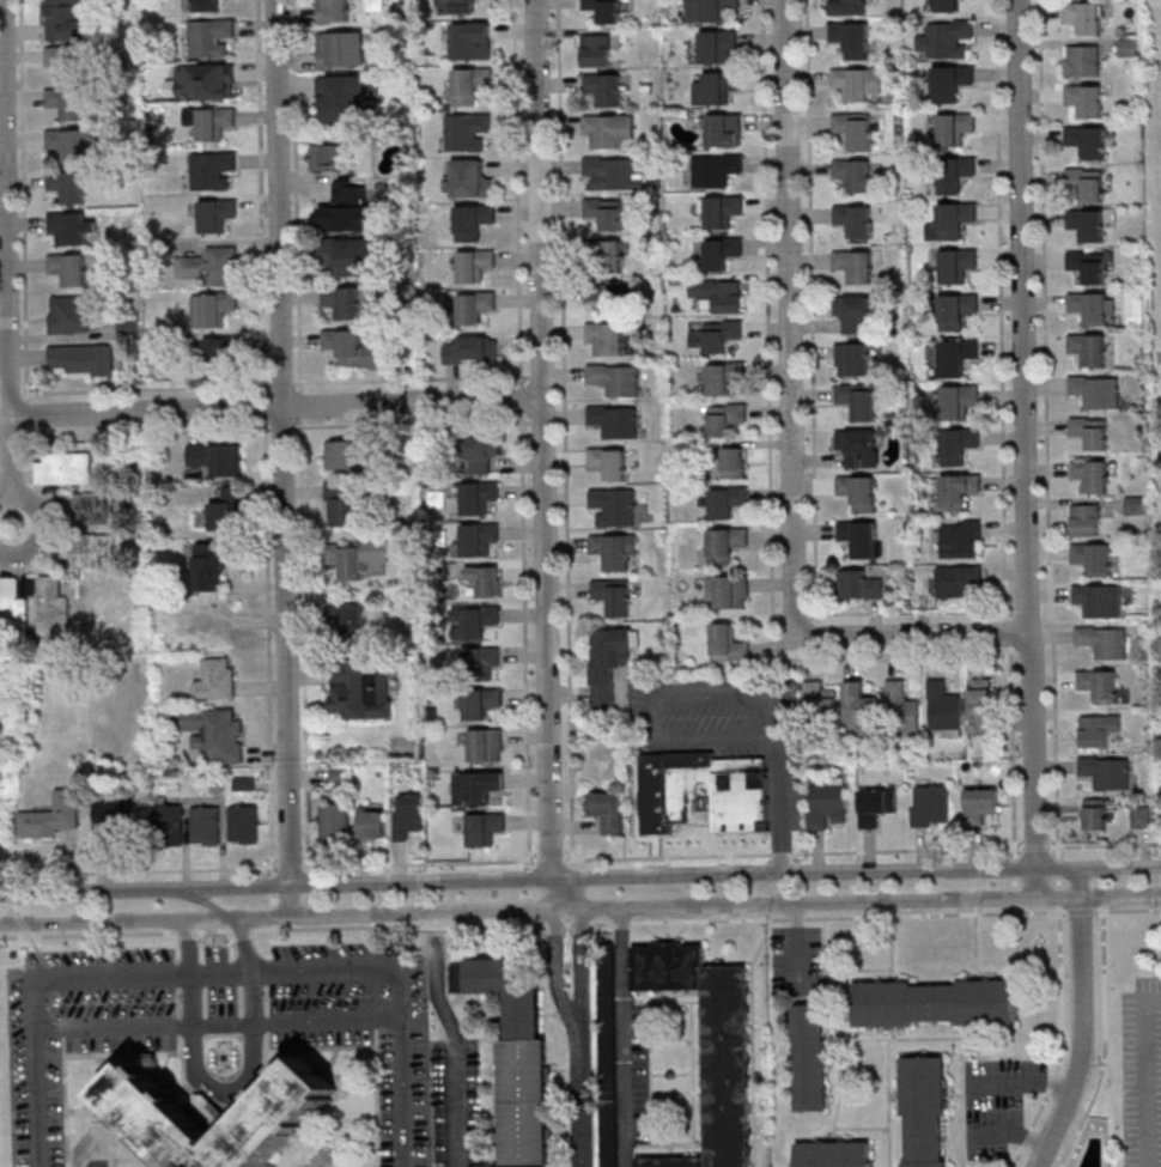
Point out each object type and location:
building: (205, 5)
building: (946, 5)
building: (456, 6)
building: (845, 7)
building: (604, 10)
building: (710, 10)
building: (333, 11)
building: (1084, 17)
building: (71, 22)
building: (209, 37)
building: (851, 38)
building: (946, 38)
building: (472, 41)
building: (718, 45)
building: (1127, 47)
building: (341, 48)
park: (1150, 49)
building: (596, 50)
building: (1082, 60)
building: (68, 61)
building: (202, 81)
building: (857, 81)
building: (950, 81)
building: (468, 86)
building: (717, 86)
building: (604, 89)
building: (342, 97)
building: (1086, 99)
building: (67, 102)
building: (211, 122)
building: (954, 128)
building: (724, 129)
building: (853, 129)
building: (608, 130)
building: (468, 132)
building: (1087, 140)
building: (74, 144)
building: (322, 157)
building: (212, 170)
building: (716, 170)
building: (955, 172)
building: (853, 174)
building: (612, 175)
building: (469, 180)
building: (1086, 182)
building: (68, 186)
road: (516, 193)
road: (261, 195)
road: (296, 195)
road: (23, 200)
road: (5, 207)
building: (349, 208)
building: (721, 211)
building: (217, 213)
building: (606, 213)
building: (855, 219)
building: (952, 220)
building: (473, 221)
building: (1087, 224)
building: (72, 227)
building: (722, 253)
building: (348, 255)
building: (608, 256)
building: (954, 263)
building: (220, 265)
building: (474, 266)
building: (855, 266)
building: (1087, 266)
building: (69, 268)
building: (719, 293)
building: (607, 297)
building: (342, 300)
building: (475, 306)
building: (1092, 306)
building: (217, 308)
road: (1001, 309)
building: (956, 310)
road: (810, 311)
building: (853, 311)
building: (69, 314)
road: (791, 318)
building: (718, 335)
building: (606, 336)
building: (1088, 348)
building: (354, 350)
building: (472, 350)
building: (223, 352)
building: (954, 355)
building: (84, 358)
building: (852, 358)
building: (724, 377)
building: (615, 378)
road: (411, 379)
road: (281, 384)
road: (145, 389)
building: (1096, 390)
road: (519, 399)
building: (858, 400)
building: (958, 400)
road: (300, 405)
road: (265, 406)
road: (274, 407)
road: (29, 413)
building: (725, 418)
building: (615, 420)
road: (412, 424)
road: (282, 428)
road: (564, 430)
road: (1047, 430)
building: (1090, 431)
road: (151, 432)
building: (959, 445)
building: (859, 446)
road: (770, 449)
road: (1029, 449)
building: (484, 454)
building: (346, 455)
road: (542, 455)
road: (285, 456)
building: (217, 457)
building: (609, 462)
building: (734, 462)
building: (65, 468)
road: (10, 470)
building: (1092, 474)
building: (959, 490)
building: (858, 492)
building: (479, 497)
building: (728, 500)
building: (614, 505)
building: (341, 506)
building: (86, 509)
building: (227, 509)
road: (54, 512)
building: (1087, 519)
building: (859, 537)
building: (961, 537)
building: (478, 539)
building: (725, 543)
building: (90, 549)
building: (614, 551)
building: (355, 557)
building: (1093, 558)
building: (212, 565)
building: (485, 579)
building: (960, 579)
building: (861, 584)
building: (728, 591)
building: (613, 596)
building: (1100, 600)
building: (12, 603)
building: (54, 606)
road: (911, 612)
building: (352, 620)
building: (475, 621)
road: (1008, 632)
road: (916, 636)
road: (523, 640)
building: (1104, 640)
road: (303, 643)
building: (728, 644)
road: (267, 646)
building: (480, 662)
building: (609, 663)
building: (217, 679)
building: (1099, 685)
building: (363, 688)
building: (819, 700)
building: (481, 703)
building: (983, 704)
building: (902, 705)
building: (944, 707)
building: (861, 710)
building: (1098, 730)
building: (215, 734)
road: (715, 740)
building: (486, 744)
road: (1013, 753)
building: (1106, 772)
building: (476, 788)
building: (716, 792)
building: (876, 803)
building: (930, 803)
building: (826, 804)
building: (980, 804)
building: (607, 810)
building: (407, 814)
building: (1095, 814)
building: (1141, 816)
building: (53, 817)
building: (117, 817)
building: (334, 822)
building: (371, 823)
building: (170, 825)
building: (243, 825)
building: (206, 826)
building: (485, 827)
road: (1105, 845)
road: (1035, 846)
road: (792, 853)
road: (549, 861)
road: (418, 863)
road: (1120, 867)
road: (288, 868)
road: (274, 869)
road: (1014, 869)
road: (1058, 869)
road: (135, 871)
road: (528, 877)
road: (540, 879)
road: (5, 880)
road: (1058, 882)
road: (1014, 883)
road: (272, 885)
road: (10, 893)
road: (529, 893)
road: (1058, 895)
road: (1015, 896)
road: (1120, 899)
road: (205, 900)
road: (272, 900)
road: (16, 907)
road: (529, 910)
road: (540, 910)
road: (1015, 910)
road: (1081, 910)
road: (1127, 910)
road: (273, 916)
road: (827, 917)
road: (22, 923)
road: (530, 923)
road: (579, 924)
road: (552, 925)
road: (566, 925)
road: (399, 926)
road: (273, 928)
road: (241, 930)
road: (212, 931)
road: (183, 932)
road: (86, 935)
road: (187, 936)
road: (796, 942)
road: (38, 953)
road: (582, 956)
road: (190, 965)
road: (221, 968)
road: (560, 978)
road: (403, 990)
road: (35, 993)
building: (935, 1005)
road: (1082, 1020)
road: (219, 1026)
road: (621, 1038)
road: (1060, 1040)
road: (1105, 1043)
building: (709, 1045)
road: (455, 1049)
building: (810, 1059)
building: (516, 1062)
building: (607, 1062)
parking lot: (1142, 1074)
road: (1143, 1075)
road: (248, 1076)
road: (1026, 1084)
road: (582, 1106)
building: (925, 1111)
building: (160, 1122)
road: (1014, 1132)
building: (833, 1155)

